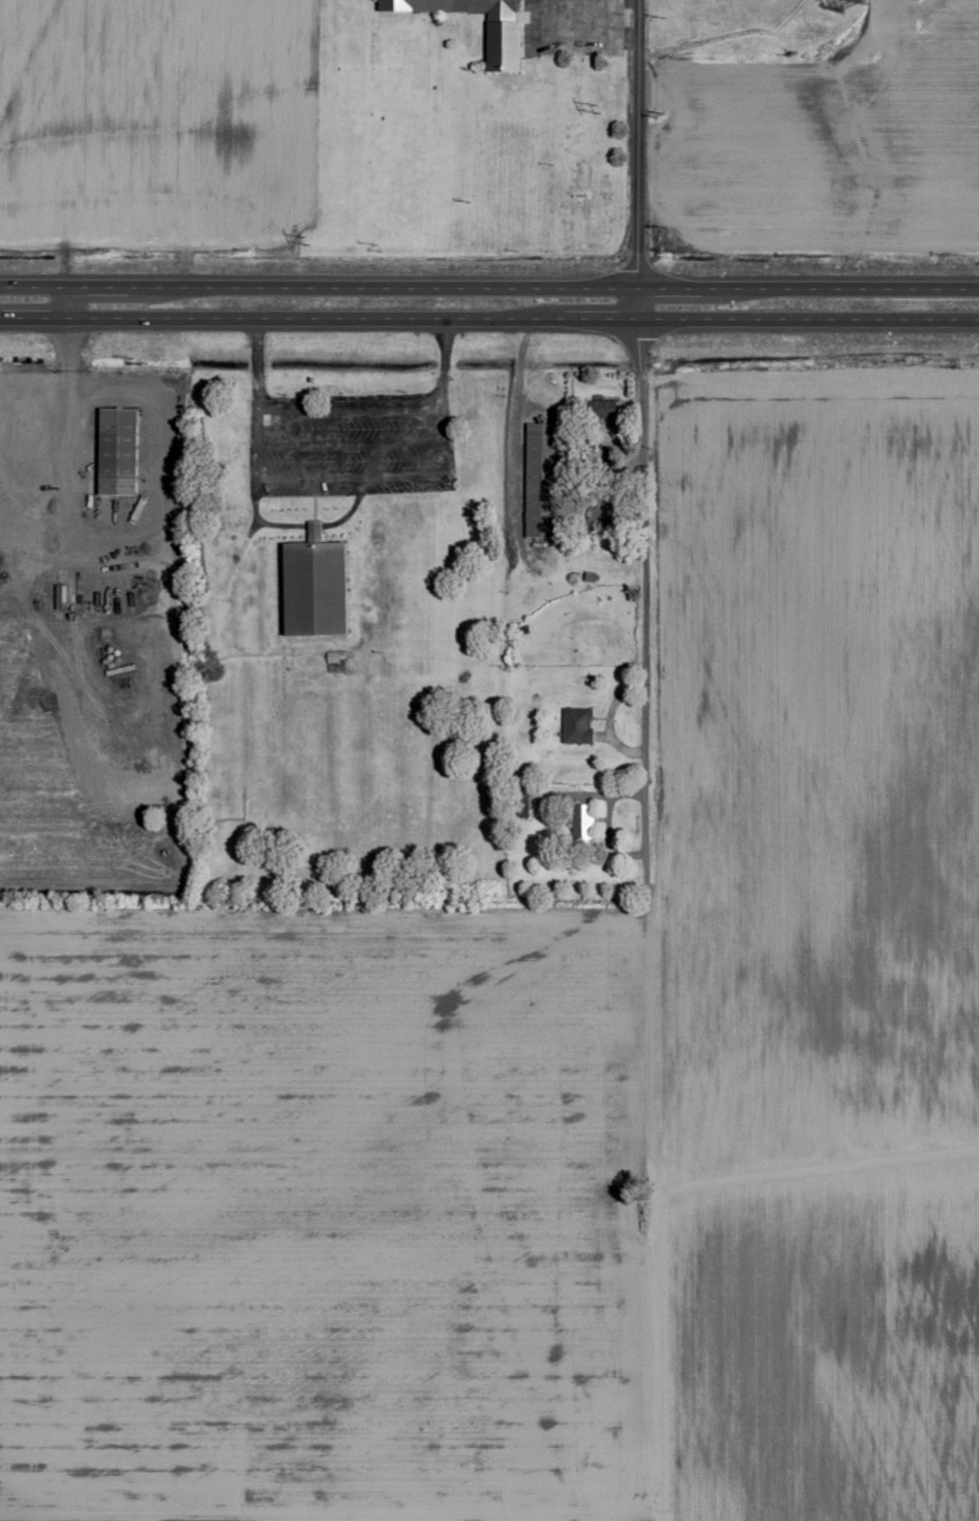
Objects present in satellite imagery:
parking lot: (574, 27)
building: (509, 33)
crop: (157, 126)
road: (489, 289)
road: (489, 320)
building: (604, 409)
road: (349, 410)
road: (349, 438)
parking lot: (349, 443)
building: (121, 452)
road: (306, 477)
building: (543, 480)
road: (339, 522)
building: (320, 585)
building: (577, 725)
road: (638, 759)
building: (583, 824)

